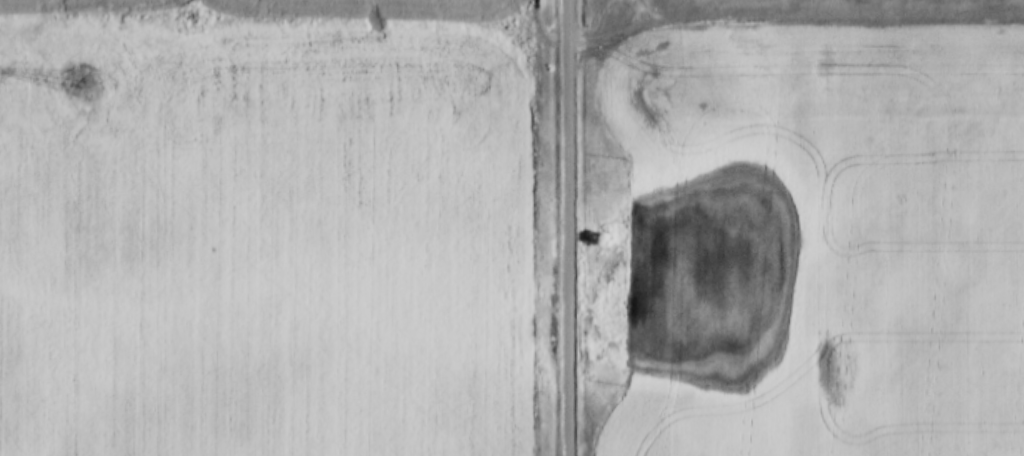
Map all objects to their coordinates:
road: (793, 20)
power tower: (93, 88)
road: (568, 227)

